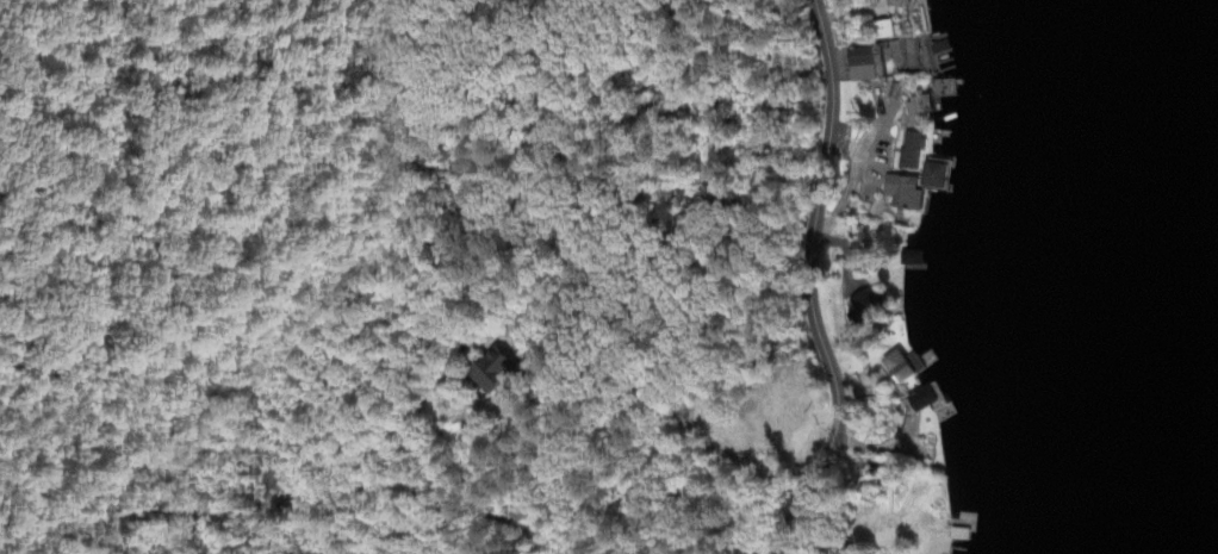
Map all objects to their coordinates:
building: (894, 2)
building: (863, 66)
building: (913, 111)
building: (905, 152)
building: (930, 178)
building: (897, 194)
road: (808, 285)
building: (859, 307)
road: (516, 351)
building: (896, 368)
building: (495, 372)
building: (918, 402)
road: (437, 506)

